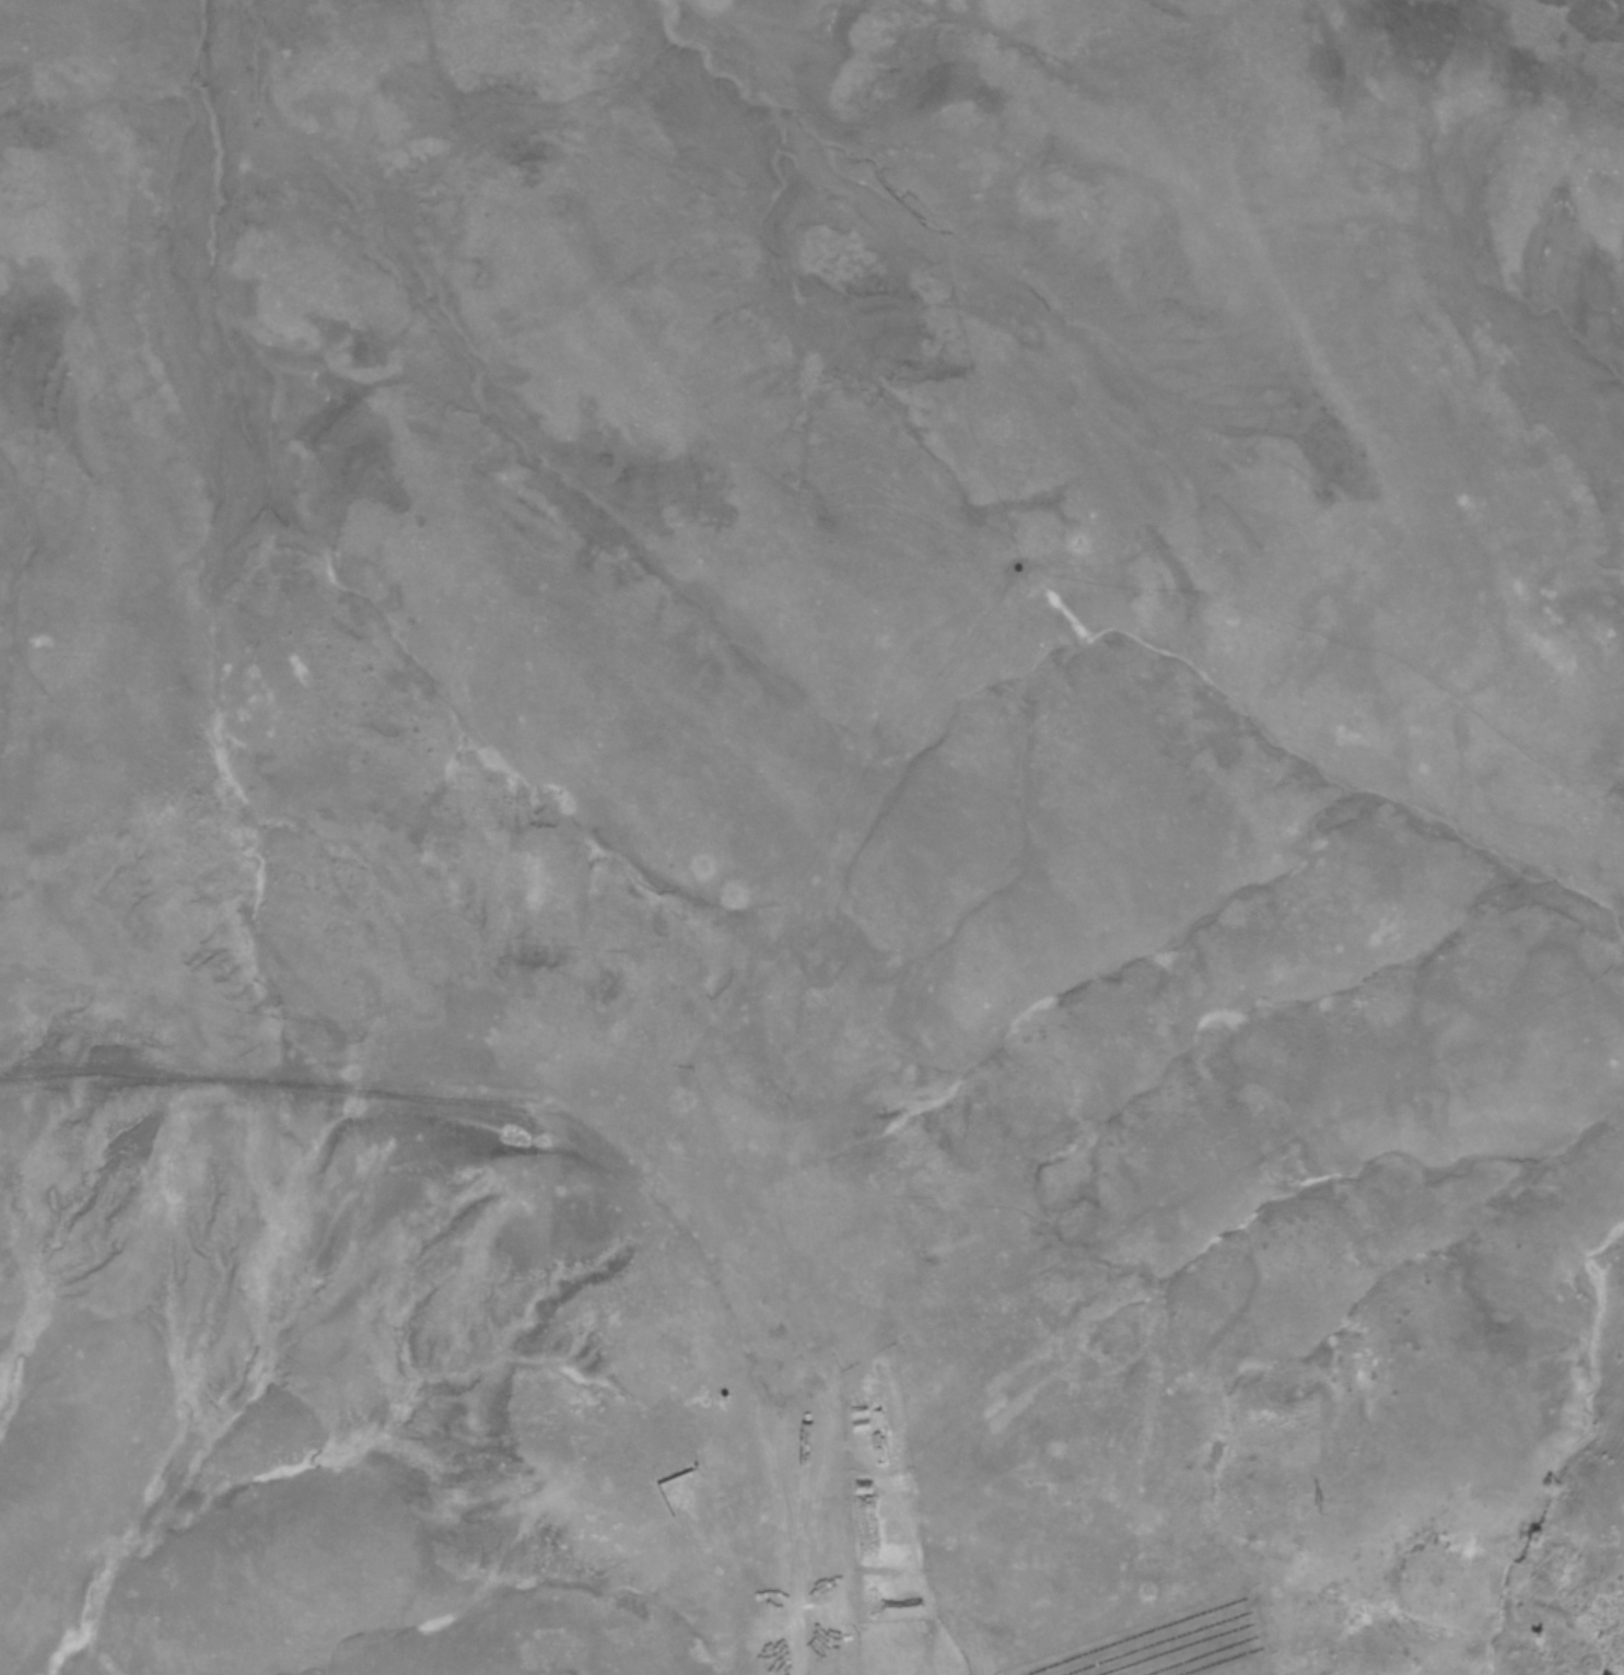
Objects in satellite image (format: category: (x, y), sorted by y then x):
power tower: (1313, 1509)

